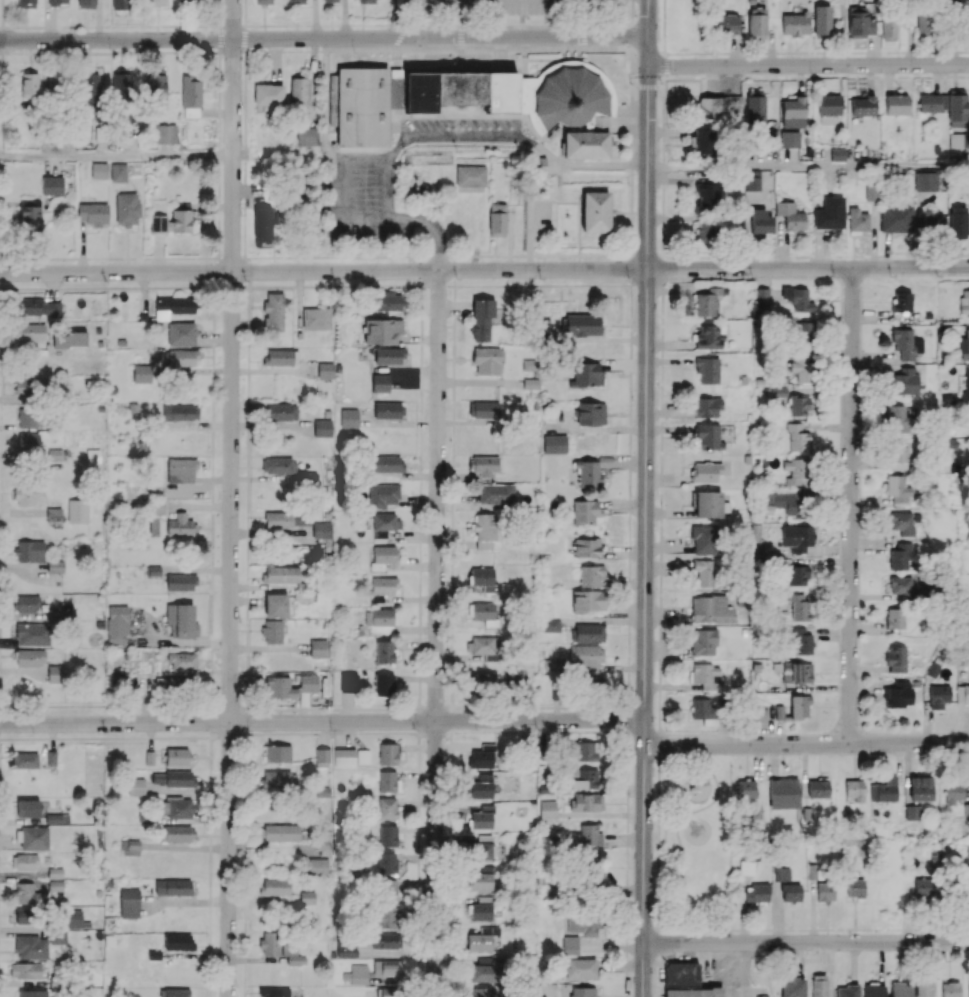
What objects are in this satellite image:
building: (296, 1)
building: (330, 1)
building: (368, 1)
building: (58, 2)
building: (156, 2)
building: (263, 2)
building: (26, 3)
building: (86, 3)
building: (120, 4)
road: (632, 11)
road: (219, 12)
road: (244, 12)
road: (2, 13)
building: (822, 21)
building: (756, 22)
road: (625, 23)
building: (726, 23)
building: (859, 23)
building: (967, 23)
building: (795, 24)
road: (216, 25)
road: (231, 25)
road: (316, 25)
road: (402, 25)
road: (585, 25)
road: (5, 26)
road: (15, 26)
road: (92, 26)
road: (188, 26)
road: (421, 26)
road: (438, 26)
road: (456, 26)
road: (479, 26)
road: (524, 26)
building: (923, 26)
building: (888, 29)
road: (632, 35)
road: (584, 36)
road: (243, 37)
road: (220, 38)
road: (323, 38)
road: (2, 39)
road: (443, 48)
road: (194, 50)
road: (231, 50)
road: (255, 50)
road: (165, 51)
road: (19, 52)
road: (61, 52)
road: (98, 52)
road: (119, 52)
road: (131, 52)
road: (147, 52)
road: (2, 56)
road: (219, 61)
road: (245, 61)
road: (808, 65)
road: (648, 76)
traffic signals: (648, 76)
road: (219, 80)
building: (55, 83)
building: (122, 83)
building: (29, 85)
building: (156, 85)
building: (90, 91)
building: (298, 91)
building: (512, 93)
building: (268, 94)
building: (191, 96)
building: (929, 103)
road: (2, 104)
building: (896, 104)
building: (862, 105)
building: (359, 106)
building: (717, 106)
building: (755, 106)
building: (793, 106)
building: (957, 108)
building: (829, 109)
building: (166, 133)
building: (307, 136)
building: (771, 137)
road: (522, 138)
building: (789, 139)
building: (959, 140)
building: (702, 141)
building: (585, 144)
road: (632, 145)
building: (837, 154)
road: (2, 155)
road: (116, 156)
road: (218, 160)
road: (244, 164)
building: (539, 164)
road: (808, 166)
building: (99, 170)
building: (118, 172)
road: (2, 175)
building: (470, 175)
building: (752, 180)
building: (925, 181)
building: (52, 185)
road: (384, 187)
building: (706, 190)
building: (871, 191)
road: (1, 196)
building: (127, 209)
building: (594, 211)
building: (93, 213)
building: (830, 213)
building: (30, 214)
building: (790, 215)
road: (359, 218)
building: (896, 218)
building: (173, 219)
building: (496, 219)
building: (857, 220)
building: (760, 221)
building: (958, 222)
building: (929, 223)
building: (262, 224)
road: (0, 230)
building: (705, 231)
road: (218, 238)
road: (630, 242)
road: (218, 251)
road: (613, 254)
road: (359, 255)
road: (533, 255)
road: (263, 256)
road: (296, 256)
road: (415, 256)
road: (435, 256)
road: (456, 256)
road: (22, 257)
road: (131, 258)
road: (231, 258)
road: (632, 267)
road: (808, 268)
road: (417, 269)
road: (323, 271)
road: (437, 281)
road: (610, 284)
road: (347, 285)
road: (398, 285)
road: (504, 285)
road: (572, 285)
road: (246, 286)
road: (256, 286)
road: (289, 286)
road: (102, 287)
road: (216, 287)
road: (7, 288)
road: (421, 293)
road: (249, 295)
building: (761, 295)
road: (213, 296)
building: (798, 299)
building: (389, 301)
building: (706, 301)
building: (901, 301)
building: (964, 302)
building: (174, 305)
road: (453, 305)
building: (40, 307)
building: (273, 311)
road: (213, 312)
building: (316, 318)
building: (481, 318)
building: (582, 324)
building: (381, 330)
road: (1, 331)
building: (805, 332)
building: (30, 334)
building: (181, 334)
road: (454, 334)
building: (710, 337)
building: (69, 339)
building: (906, 344)
building: (964, 347)
building: (389, 355)
building: (182, 357)
road: (213, 357)
building: (281, 357)
building: (487, 360)
building: (325, 369)
building: (707, 370)
building: (141, 373)
building: (586, 375)
road: (453, 381)
building: (905, 381)
building: (380, 383)
building: (966, 386)
building: (29, 387)
road: (421, 395)
building: (799, 405)
building: (706, 407)
building: (484, 409)
road: (248, 410)
building: (388, 410)
building: (281, 411)
building: (590, 413)
building: (179, 416)
building: (26, 417)
building: (349, 417)
building: (898, 419)
building: (322, 427)
building: (708, 437)
building: (798, 438)
building: (28, 442)
road: (453, 442)
building: (554, 443)
road: (1, 449)
building: (93, 455)
building: (897, 455)
building: (387, 463)
building: (278, 465)
building: (484, 465)
building: (181, 470)
road: (452, 470)
building: (795, 471)
building: (705, 472)
building: (587, 474)
road: (212, 486)
road: (452, 488)
road: (629, 488)
building: (898, 488)
building: (27, 494)
building: (496, 494)
building: (383, 495)
road: (230, 498)
road: (645, 498)
building: (786, 501)
building: (707, 504)
building: (156, 506)
road: (850, 506)
road: (420, 510)
building: (77, 511)
building: (585, 511)
building: (54, 515)
building: (287, 519)
road: (452, 520)
building: (903, 523)
building: (383, 524)
building: (181, 526)
building: (321, 530)
building: (484, 530)
road: (420, 535)
road: (0, 537)
building: (797, 537)
building: (703, 539)
building: (586, 547)
road: (452, 550)
building: (29, 551)
road: (420, 552)
building: (384, 554)
building: (901, 555)
road: (0, 559)
building: (55, 566)
building: (704, 572)
building: (280, 574)
road: (451, 575)
building: (796, 575)
building: (591, 576)
building: (482, 578)
building: (180, 582)
road: (211, 583)
road: (246, 585)
building: (383, 585)
building: (899, 587)
road: (0, 596)
building: (588, 600)
building: (26, 603)
building: (275, 605)
building: (799, 606)
road: (419, 607)
building: (710, 609)
building: (483, 610)
road: (451, 617)
building: (379, 618)
building: (894, 618)
building: (181, 619)
building: (117, 624)
building: (551, 624)
building: (272, 631)
building: (588, 632)
road: (436, 633)
building: (33, 634)
road: (210, 634)
building: (802, 640)
building: (703, 641)
building: (486, 646)
building: (318, 648)
road: (451, 650)
building: (384, 651)
building: (585, 655)
building: (30, 658)
building: (895, 659)
building: (182, 660)
road: (419, 662)
building: (551, 664)
building: (796, 672)
building: (56, 673)
road: (451, 674)
building: (704, 674)
building: (516, 676)
road: (419, 679)
building: (349, 682)
building: (485, 682)
road: (245, 683)
building: (308, 683)
building: (592, 683)
building: (384, 685)
building: (279, 687)
road: (210, 690)
building: (962, 693)
building: (898, 694)
building: (938, 695)
road: (420, 696)
road: (627, 698)
road: (451, 699)
road: (20, 705)
road: (72, 705)
road: (121, 705)
road: (145, 705)
road: (180, 705)
road: (595, 706)
building: (799, 706)
road: (458, 707)
road: (502, 707)
road: (552, 707)
road: (398, 708)
road: (411, 708)
road: (417, 708)
road: (272, 709)
road: (355, 709)
building: (702, 709)
road: (304, 710)
road: (317, 710)
building: (782, 712)
road: (448, 719)
road: (242, 721)
road: (321, 721)
road: (471, 731)
road: (510, 731)
road: (559, 731)
road: (608, 731)
road: (333, 732)
road: (227, 733)
road: (434, 733)
road: (105, 737)
road: (806, 744)
road: (211, 750)
building: (584, 750)
building: (277, 753)
building: (387, 754)
building: (177, 756)
building: (482, 756)
building: (51, 757)
building: (322, 757)
building: (344, 757)
building: (25, 759)
building: (172, 778)
building: (583, 778)
building: (278, 779)
road: (659, 780)
building: (388, 781)
road: (245, 784)
building: (136, 786)
building: (482, 787)
building: (819, 787)
building: (920, 788)
building: (746, 789)
building: (884, 790)
building: (855, 791)
road: (419, 792)
building: (783, 793)
building: (951, 793)
road: (210, 796)
building: (586, 802)
building: (177, 807)
building: (27, 808)
building: (387, 808)
building: (547, 809)
building: (912, 812)
road: (627, 814)
building: (57, 818)
building: (481, 818)
road: (681, 819)
building: (281, 832)
building: (177, 833)
building: (590, 834)
building: (388, 835)
road: (245, 836)
building: (32, 837)
park: (695, 843)
building: (130, 847)
building: (481, 848)
road: (449, 857)
road: (419, 858)
building: (26, 862)
building: (386, 863)
building: (748, 863)
building: (319, 866)
road: (245, 869)
building: (813, 871)
building: (782, 874)
road: (419, 881)
building: (480, 881)
building: (275, 886)
building: (172, 887)
building: (855, 887)
building: (387, 889)
building: (922, 889)
road: (209, 891)
building: (825, 891)
building: (791, 892)
building: (26, 893)
building: (757, 893)
building: (129, 903)
building: (479, 909)
road: (244, 913)
building: (22, 916)
building: (385, 917)
road: (626, 918)
building: (74, 919)
building: (584, 925)
road: (666, 931)
building: (58, 937)
building: (482, 938)
building: (386, 940)
building: (178, 941)
road: (805, 941)
road: (244, 942)
building: (270, 943)
road: (418, 944)
building: (570, 945)
building: (31, 946)
building: (345, 947)
building: (292, 952)
building: (387, 968)
building: (581, 968)
road: (209, 969)
road: (625, 969)
road: (747, 969)
building: (25, 970)
building: (485, 970)
building: (681, 973)
building: (356, 974)
road: (244, 976)
road: (448, 983)
building: (819, 985)
building: (793, 986)
building: (923, 988)
building: (901, 989)
building: (951, 989)
building: (968, 989)
building: (847, 990)
building: (874, 990)
road: (208, 991)
building: (274, 991)
building: (480, 991)
building: (174, 992)
building: (389, 992)
road: (448, 992)
building: (583, 992)
building: (686, 992)
building: (33, 993)

